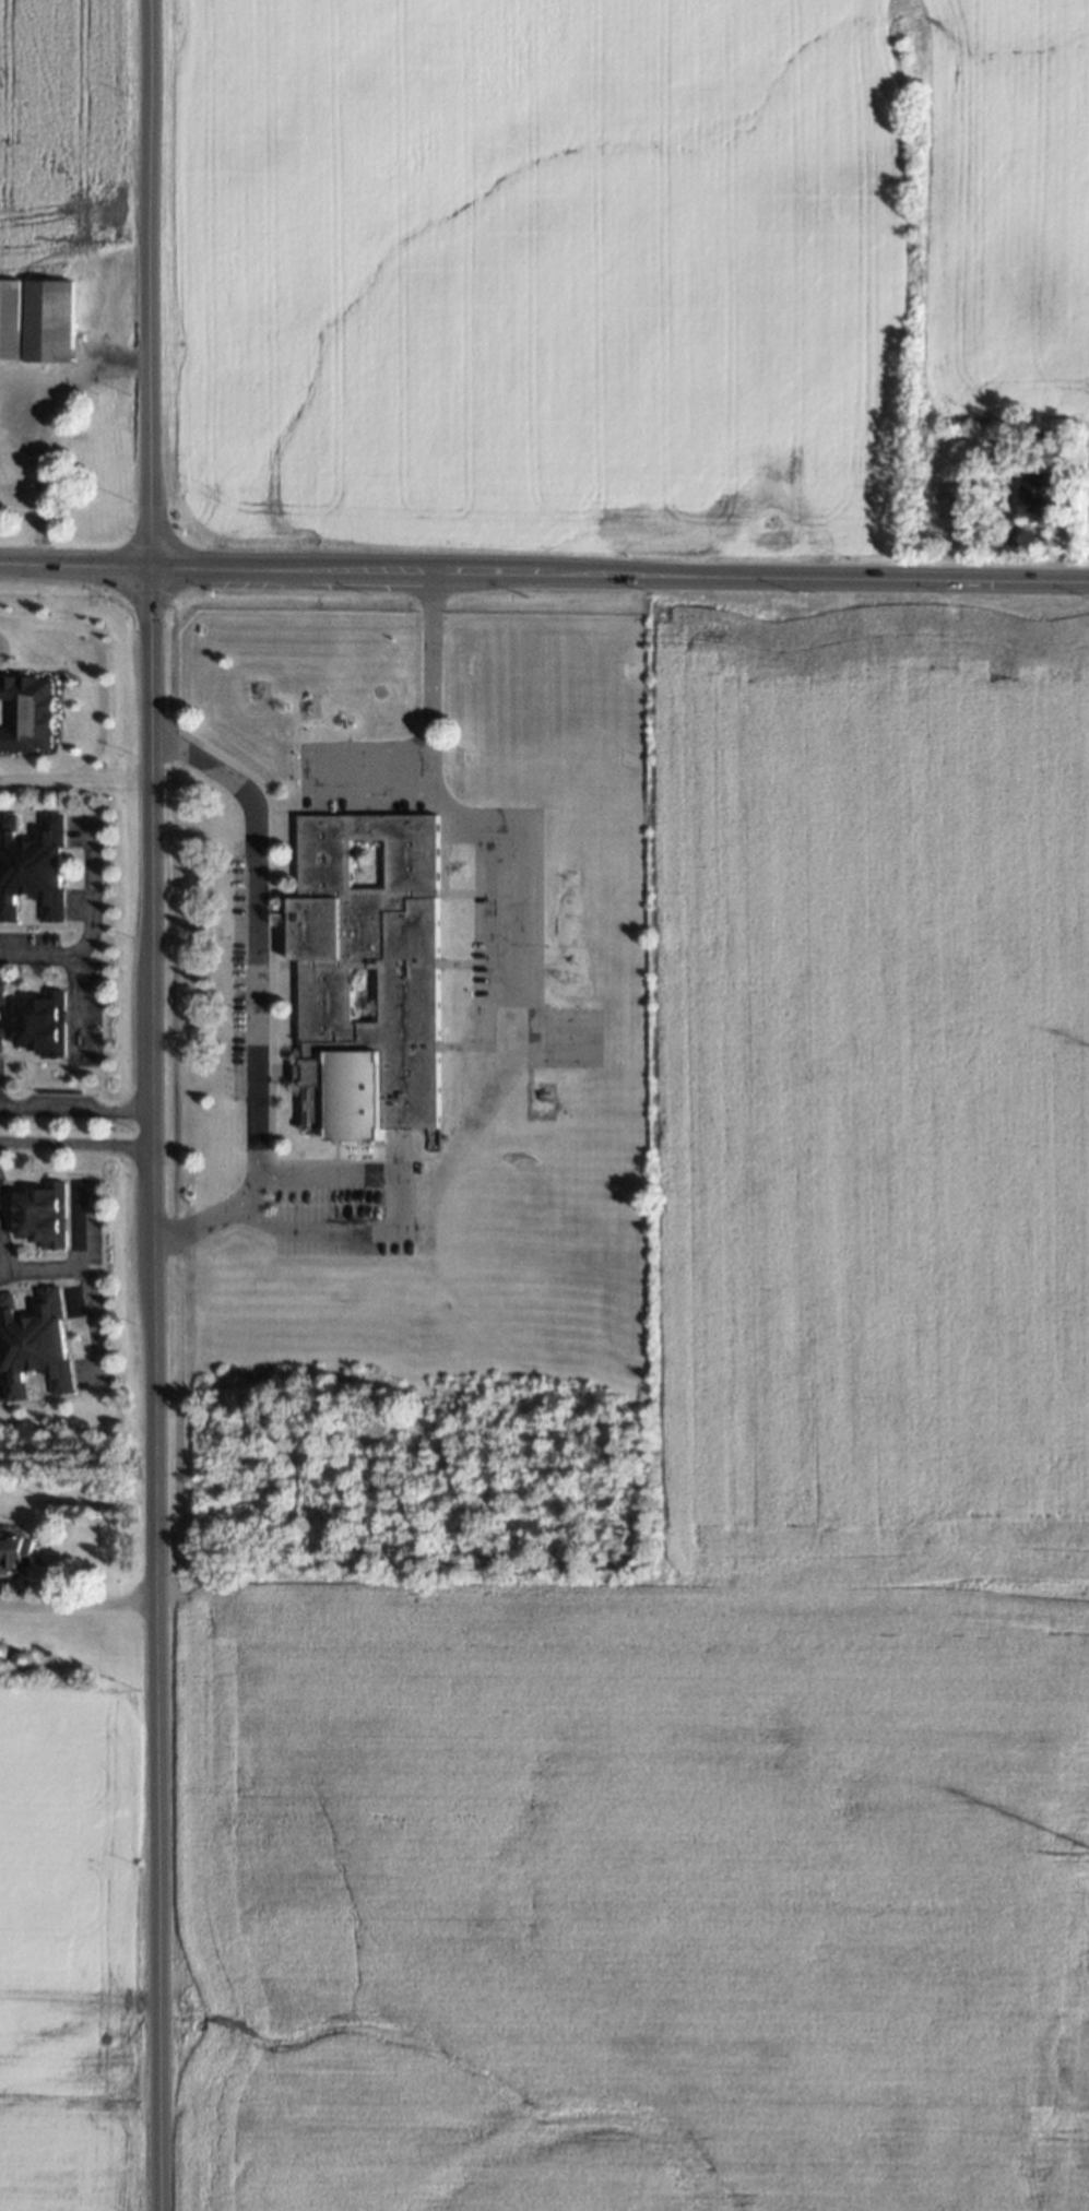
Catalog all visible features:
building: (35, 317)
road: (38, 426)
building: (1053, 446)
building: (1035, 500)
road: (544, 575)
building: (26, 713)
road: (427, 716)
road: (306, 771)
building: (34, 870)
road: (84, 925)
building: (367, 974)
road: (252, 989)
building: (2, 995)
road: (79, 1006)
building: (45, 1024)
building: (3, 1041)
road: (74, 1105)
road: (149, 1105)
road: (74, 1145)
building: (45, 1208)
road: (389, 1215)
road: (1, 1265)
road: (84, 1278)
building: (35, 1348)
building: (17, 1547)
road: (76, 1600)
building: (2, 1647)
building: (24, 1655)
building: (43, 1656)
crop: (71, 1953)

